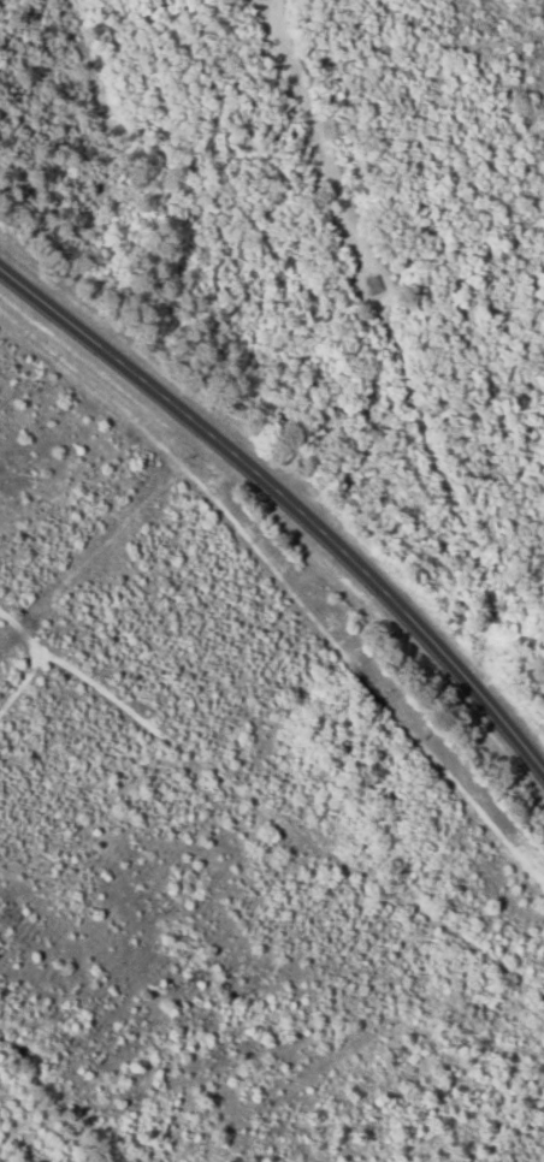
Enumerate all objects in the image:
road: (289, 500)
road: (22, 680)
road: (273, 810)

